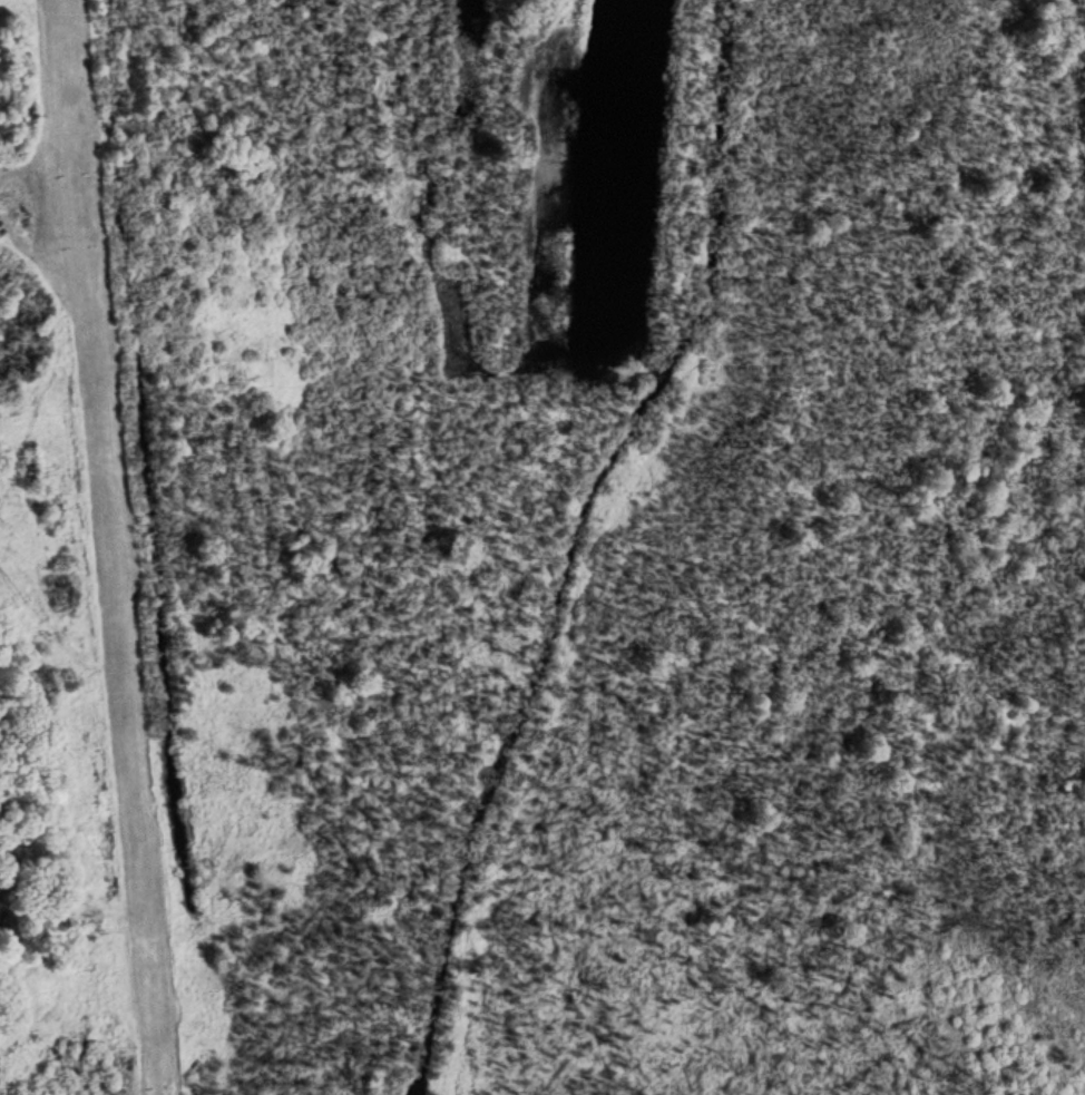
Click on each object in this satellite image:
airport runway: (101, 547)

